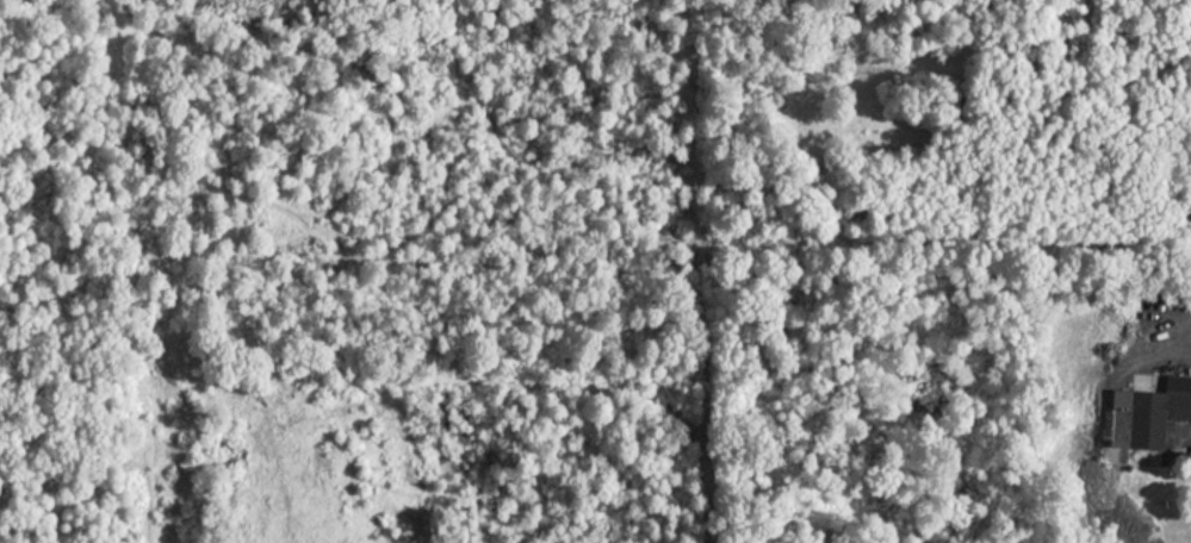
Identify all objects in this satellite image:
building: (1147, 412)

